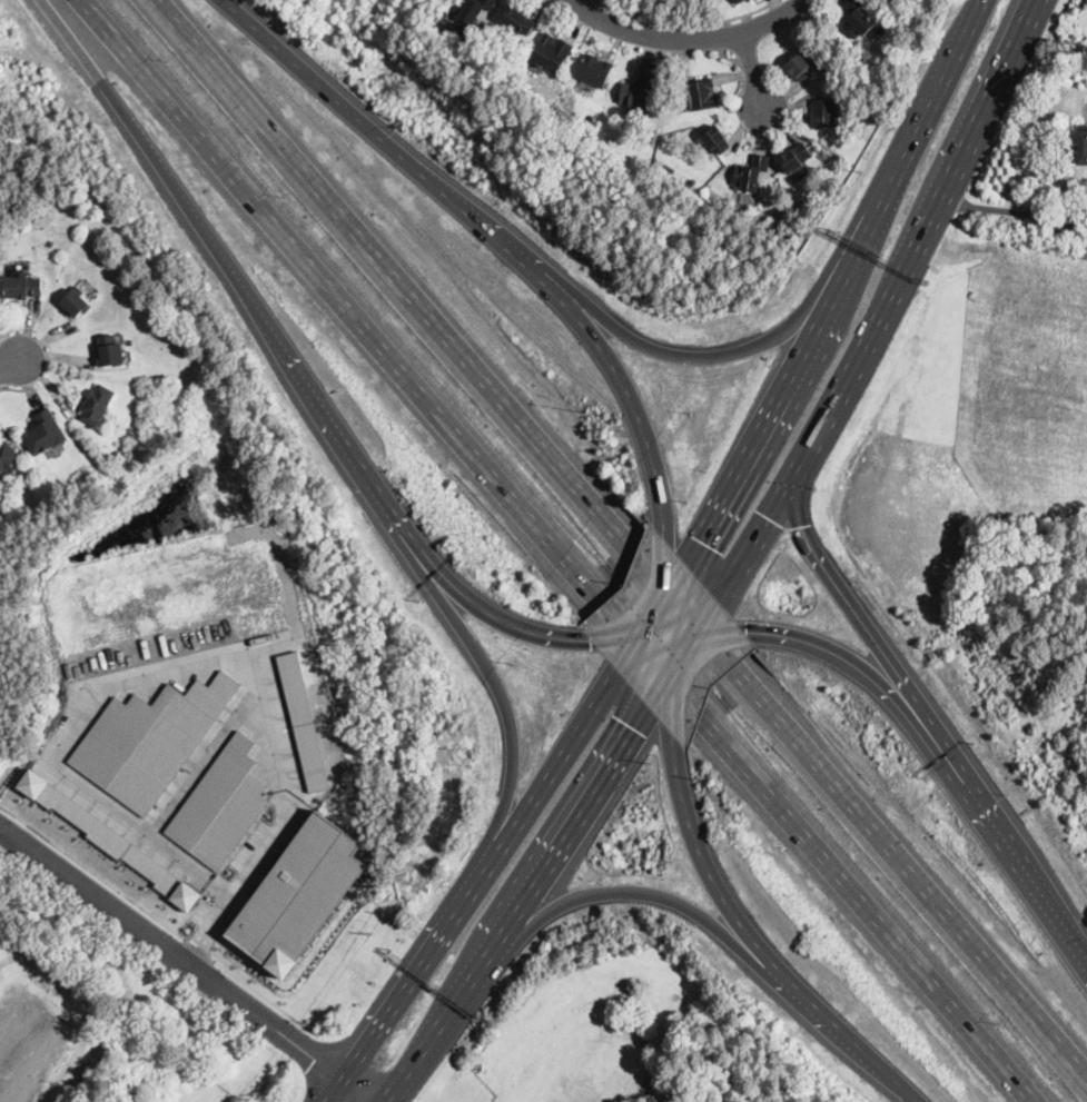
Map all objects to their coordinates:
road: (570, 1)
building: (738, 1)
building: (473, 9)
building: (857, 19)
building: (518, 20)
road: (688, 26)
building: (881, 28)
road: (685, 40)
building: (551, 53)
building: (800, 68)
building: (594, 71)
road: (754, 75)
building: (638, 91)
building: (701, 93)
building: (823, 113)
road: (974, 137)
building: (715, 140)
building: (1080, 146)
building: (796, 157)
building: (751, 173)
building: (770, 177)
road: (1007, 211)
building: (1066, 228)
road: (497, 236)
building: (785, 240)
road: (230, 269)
road: (838, 282)
building: (23, 287)
building: (76, 301)
building: (191, 340)
building: (110, 350)
road: (719, 356)
road: (10, 366)
road: (10, 385)
building: (96, 405)
road: (821, 428)
building: (45, 434)
building: (126, 455)
building: (9, 459)
traffic signals: (770, 518)
traffic signals: (801, 525)
road: (619, 538)
traffic signals: (698, 538)
road: (559, 553)
road: (651, 614)
road: (491, 615)
road: (666, 624)
road: (663, 625)
road: (867, 629)
traffic signals: (752, 633)
traffic signals: (590, 641)
road: (680, 643)
road: (692, 647)
road: (674, 648)
road: (871, 678)
road: (99, 689)
road: (508, 715)
building: (299, 719)
traffic signals: (640, 732)
building: (150, 738)
road: (201, 760)
building: (220, 805)
building: (111, 840)
road: (706, 862)
road: (255, 867)
road: (1025, 870)
road: (482, 874)
road: (613, 892)
building: (300, 896)
road: (520, 907)
road: (159, 917)
road: (199, 945)
road: (172, 952)
road: (847, 1038)
road: (335, 1090)
road: (360, 1090)

